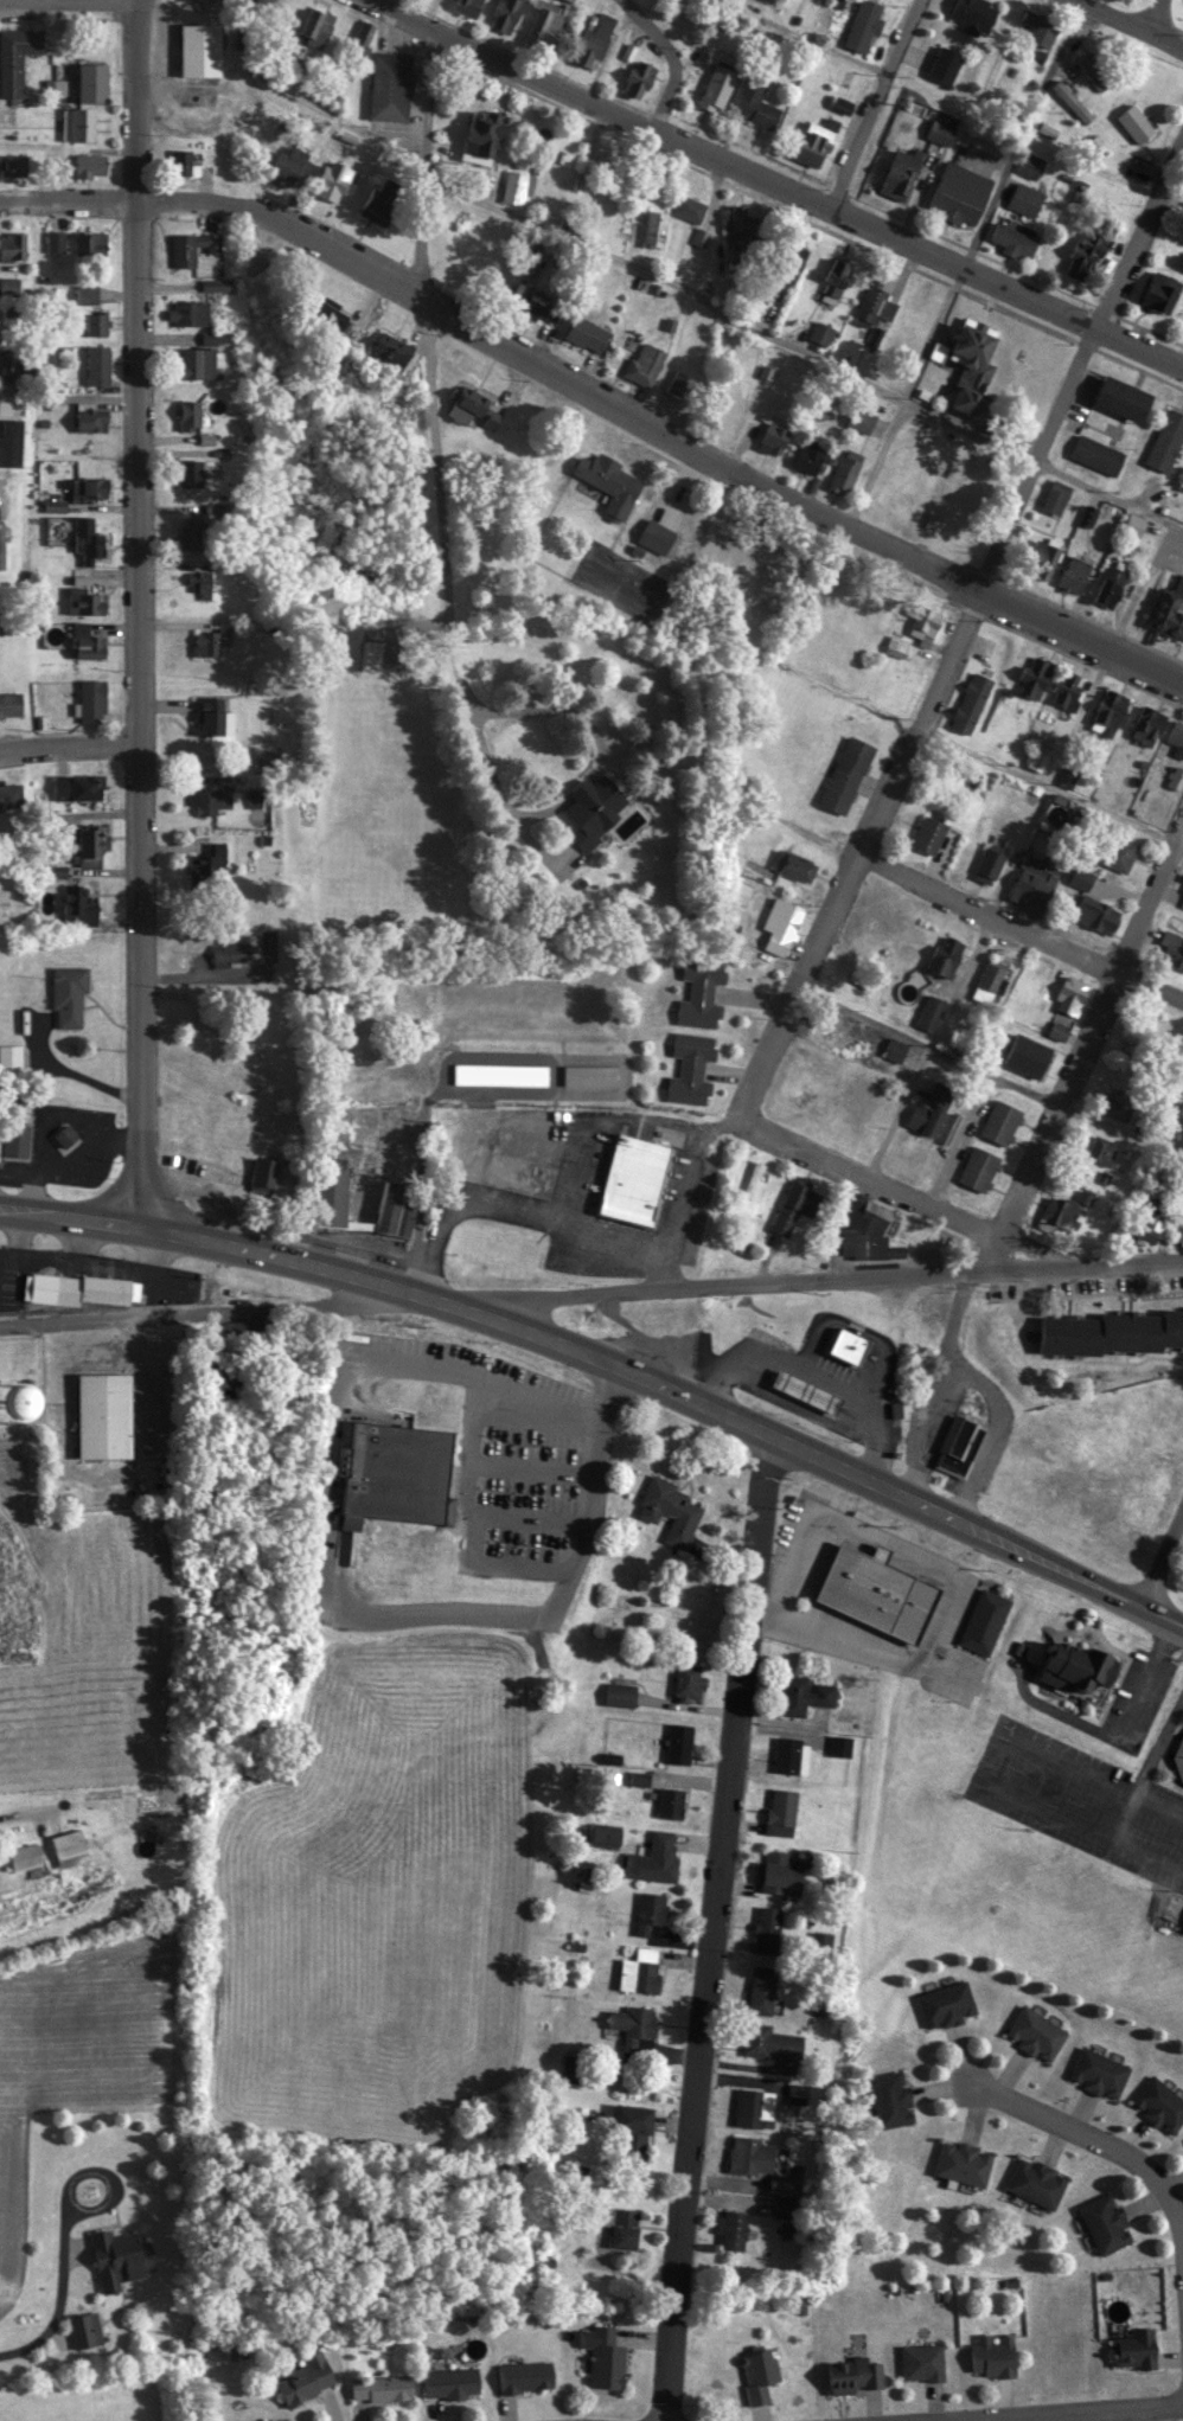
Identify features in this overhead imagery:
building: (569, 0)
building: (779, 0)
road: (66, 2)
building: (466, 6)
building: (970, 13)
building: (506, 14)
road: (1156, 18)
building: (544, 24)
building: (862, 24)
building: (319, 25)
road: (1127, 25)
building: (1038, 27)
building: (362, 36)
building: (594, 39)
building: (199, 49)
building: (15, 57)
road: (670, 57)
building: (944, 63)
building: (1092, 72)
building: (639, 77)
building: (91, 82)
building: (390, 85)
building: (716, 87)
road: (133, 100)
building: (1069, 101)
building: (754, 103)
road: (870, 105)
building: (1133, 122)
building: (78, 123)
building: (482, 136)
building: (813, 142)
building: (181, 161)
building: (14, 162)
building: (90, 165)
building: (1030, 165)
building: (286, 167)
building: (900, 171)
building: (331, 184)
building: (514, 186)
road: (775, 188)
building: (959, 193)
building: (1024, 199)
road: (1166, 203)
building: (378, 205)
building: (688, 206)
building: (741, 224)
building: (654, 228)
building: (1012, 239)
building: (73, 242)
building: (11, 245)
building: (192, 245)
building: (1086, 252)
building: (789, 260)
road: (959, 271)
building: (837, 275)
building: (217, 283)
building: (9, 284)
building: (1159, 290)
building: (85, 293)
building: (543, 303)
building: (871, 305)
road: (709, 309)
building: (187, 312)
building: (917, 312)
building: (316, 314)
building: (95, 322)
building: (821, 332)
building: (587, 333)
building: (218, 335)
building: (392, 352)
building: (973, 360)
building: (196, 361)
building: (644, 361)
building: (97, 364)
building: (17, 365)
road: (1079, 367)
road: (423, 376)
building: (679, 383)
building: (1124, 397)
building: (11, 403)
building: (465, 403)
road: (597, 406)
building: (190, 414)
building: (861, 417)
building: (90, 418)
building: (1166, 438)
building: (773, 440)
building: (11, 442)
building: (1096, 453)
building: (808, 456)
building: (848, 468)
building: (190, 472)
building: (610, 481)
building: (89, 488)
building: (1056, 495)
building: (1134, 524)
building: (188, 536)
building: (656, 536)
building: (88, 537)
building: (1073, 572)
park: (619, 579)
building: (203, 583)
building: (1111, 585)
building: (87, 597)
building: (1168, 609)
building: (923, 629)
building: (211, 641)
building: (87, 642)
building: (896, 646)
building: (1034, 675)
building: (1069, 690)
building: (91, 700)
building: (971, 702)
building: (11, 703)
road: (135, 712)
building: (1108, 712)
building: (215, 722)
building: (1146, 723)
building: (1176, 732)
road: (66, 745)
building: (845, 774)
building: (1066, 776)
building: (1174, 779)
road: (1049, 783)
building: (77, 786)
building: (211, 796)
building: (11, 798)
building: (594, 807)
road: (505, 818)
building: (928, 833)
building: (90, 845)
building: (1115, 852)
building: (206, 862)
building: (989, 862)
building: (792, 864)
road: (856, 866)
building: (1081, 877)
building: (1032, 884)
building: (78, 908)
building: (1096, 915)
building: (780, 924)
road: (1019, 936)
building: (236, 947)
building: (1172, 948)
building: (945, 954)
building: (989, 980)
building: (701, 991)
building: (1070, 994)
building: (68, 995)
building: (931, 1012)
building: (832, 1023)
building: (1057, 1030)
road: (1089, 1033)
building: (894, 1049)
road: (932, 1053)
building: (1028, 1056)
building: (11, 1059)
building: (690, 1068)
building: (500, 1072)
building: (590, 1075)
road: (990, 1076)
building: (808, 1080)
building: (1115, 1107)
building: (929, 1109)
building: (1000, 1121)
road: (602, 1122)
building: (15, 1129)
building: (183, 1134)
building: (65, 1135)
building: (1100, 1149)
building: (978, 1168)
building: (262, 1173)
building: (752, 1179)
building: (633, 1180)
road: (677, 1195)
road: (909, 1197)
building: (332, 1202)
building: (794, 1205)
building: (1066, 1209)
building: (394, 1210)
road: (517, 1212)
building: (1147, 1224)
building: (867, 1230)
road: (811, 1283)
building: (78, 1288)
road: (219, 1309)
building: (1114, 1330)
building: (849, 1344)
road: (608, 1364)
road: (938, 1364)
building: (806, 1389)
water tower: (8, 1397)
building: (104, 1414)
building: (958, 1443)
building: (394, 1469)
building: (1150, 1485)
building: (669, 1507)
road: (1163, 1567)
building: (877, 1588)
building: (984, 1618)
road: (407, 1626)
building: (1076, 1664)
building: (686, 1682)
building: (620, 1692)
building: (802, 1692)
building: (679, 1741)
building: (839, 1744)
building: (791, 1754)
building: (1179, 1756)
road: (1151, 1760)
parking lot: (1079, 1794)
building: (670, 1800)
building: (782, 1810)
road: (19, 1834)
building: (606, 1836)
building: (70, 1846)
building: (23, 1856)
building: (653, 1857)
building: (780, 1871)
building: (651, 1914)
building: (766, 1927)
road: (712, 1933)
building: (638, 1970)
building: (761, 1987)
building: (946, 2004)
building: (634, 2025)
building: (1035, 2032)
building: (768, 2039)
building: (570, 2067)
building: (1098, 2071)
building: (890, 2097)
building: (1159, 2103)
building: (753, 2106)
building: (633, 2132)
road: (1091, 2153)
building: (752, 2154)
building: (963, 2161)
building: (1036, 2180)
building: (780, 2184)
building: (1105, 2222)
building: (621, 2224)
building: (731, 2227)
building: (120, 2257)
building: (1136, 2349)
building: (603, 2355)
building: (993, 2355)
building: (922, 2362)
building: (759, 2374)
building: (853, 2374)
building: (525, 2375)
building: (305, 2377)
building: (450, 2381)
building: (381, 2387)
road: (1038, 2413)
building: (266, 2420)

